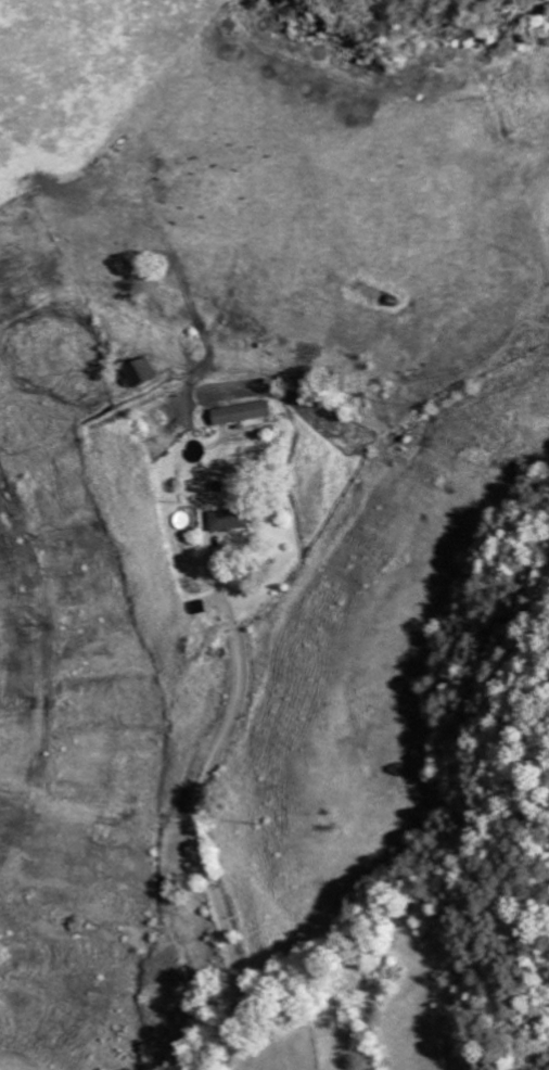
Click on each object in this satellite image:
building: (143, 374)
building: (245, 413)
building: (234, 521)
road: (203, 845)

